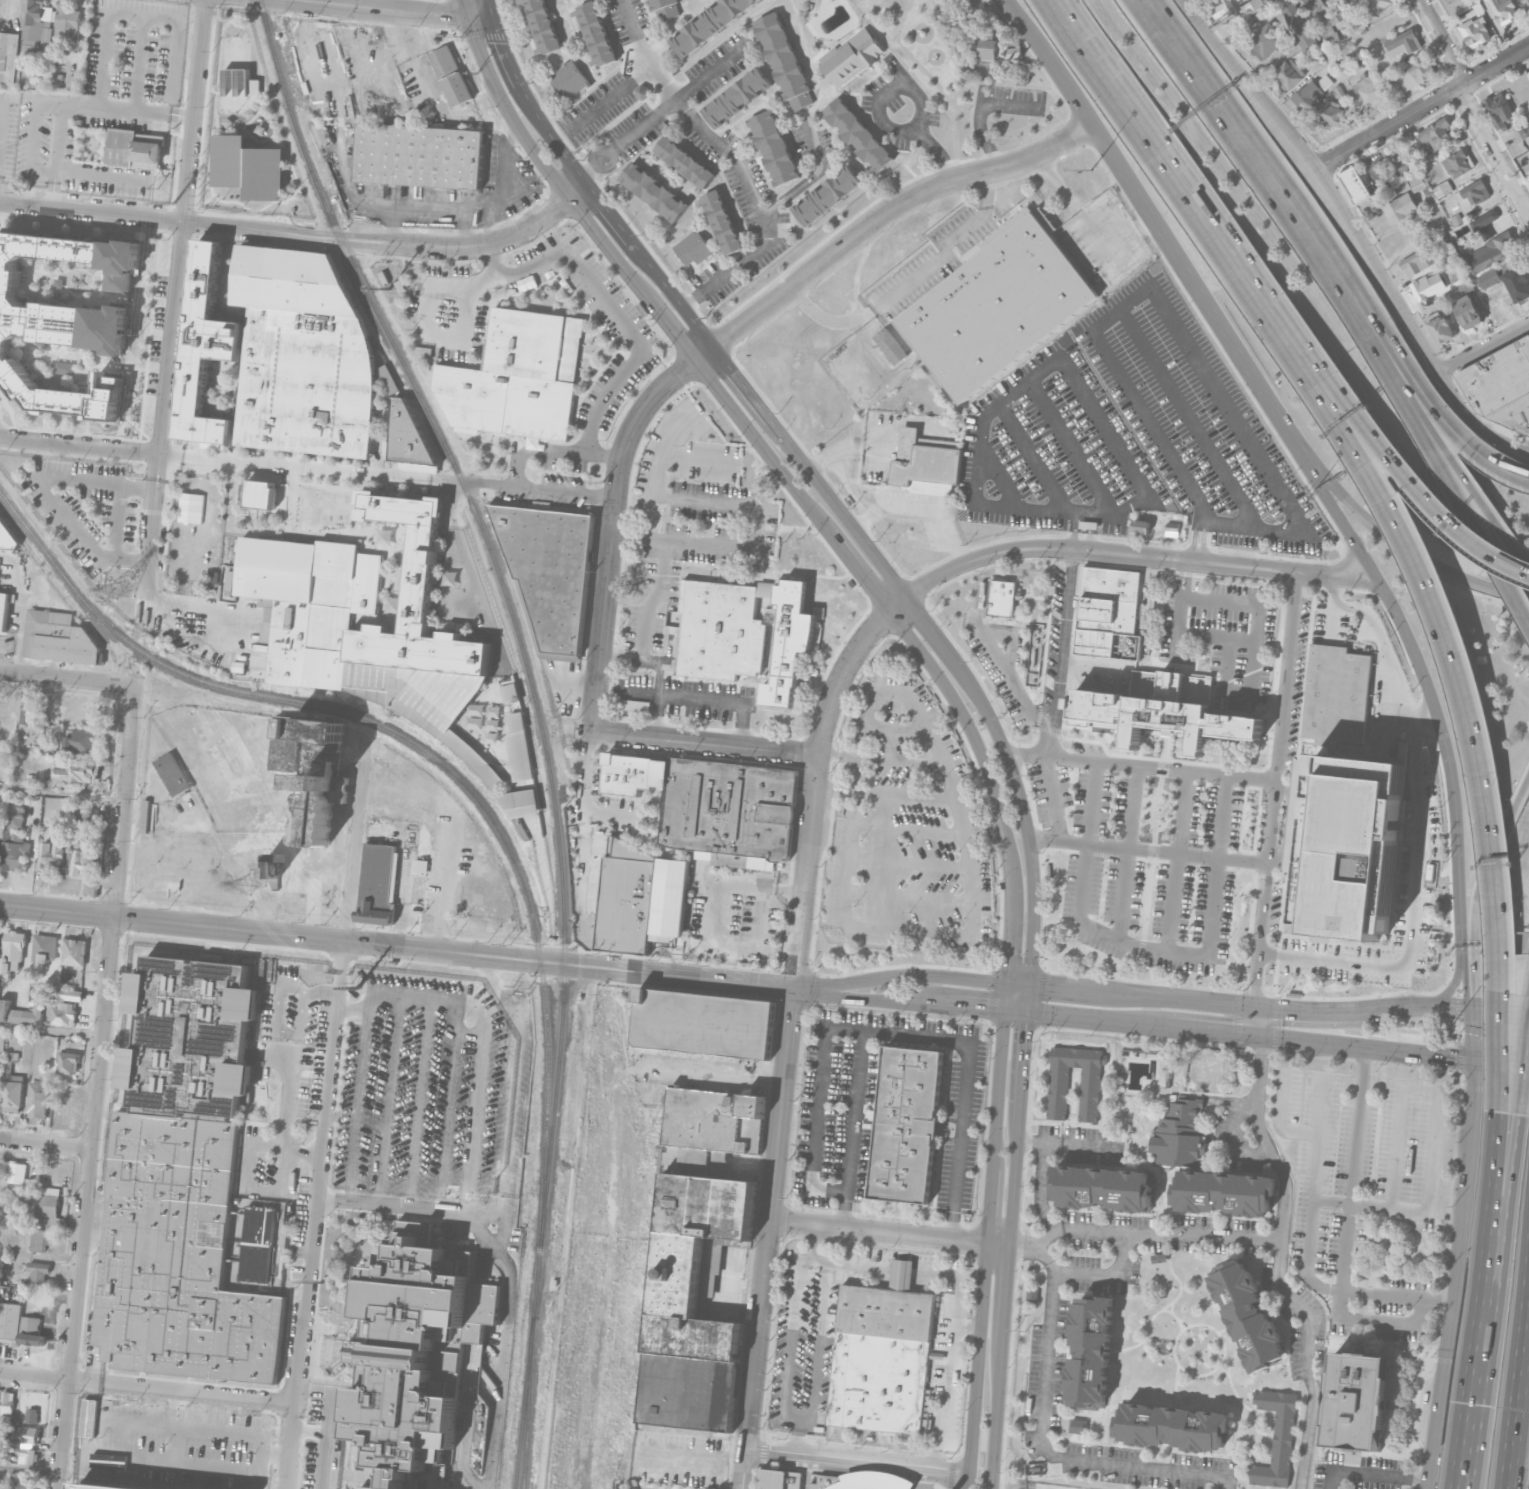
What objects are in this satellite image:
building: (1450, 1)
building: (1527, 2)
road: (381, 4)
building: (1314, 4)
building: (1252, 5)
building: (1377, 5)
building: (1224, 7)
road: (388, 8)
road: (466, 8)
road: (488, 9)
building: (666, 9)
building: (1503, 10)
road: (135, 13)
road: (480, 17)
road: (1018, 20)
road: (1025, 20)
building: (68, 23)
building: (708, 24)
building: (1298, 24)
building: (36, 25)
building: (542, 25)
building: (1475, 31)
building: (597, 32)
building: (1267, 38)
road: (1443, 41)
building: (986, 42)
building: (1402, 43)
road: (949, 50)
road: (503, 52)
road: (644, 52)
building: (1012, 52)
building: (8, 57)
building: (851, 57)
road: (415, 59)
building: (784, 60)
road: (140, 62)
road: (918, 64)
park: (970, 67)
road: (710, 72)
building: (1415, 72)
building: (451, 74)
building: (1287, 74)
road: (1107, 77)
building: (569, 78)
road: (968, 80)
building: (74, 83)
building: (239, 89)
building: (643, 91)
building: (1372, 91)
road: (884, 92)
building: (1306, 95)
road: (611, 97)
building: (737, 97)
road: (1010, 103)
road: (81, 105)
road: (1419, 109)
building: (1498, 110)
building: (1329, 114)
road: (978, 118)
building: (1436, 134)
road: (549, 135)
building: (858, 135)
building: (774, 147)
building: (134, 148)
road: (938, 150)
road: (1492, 154)
building: (420, 155)
road: (1257, 160)
road: (595, 162)
building: (684, 162)
building: (1457, 163)
building: (248, 167)
road: (733, 167)
road: (38, 168)
road: (807, 177)
building: (1417, 180)
building: (1354, 183)
road: (500, 186)
building: (1442, 189)
building: (654, 191)
building: (827, 195)
building: (1468, 195)
power tower: (173, 202)
building: (1400, 207)
road: (887, 209)
road: (607, 212)
road: (1085, 216)
building: (721, 220)
building: (1484, 222)
road: (182, 226)
road: (301, 233)
road: (1351, 235)
road: (1165, 238)
building: (693, 247)
building: (1486, 254)
road: (491, 261)
road: (1240, 262)
building: (1416, 262)
building: (1489, 277)
road: (909, 280)
building: (1518, 283)
building: (1424, 287)
road: (596, 289)
road: (670, 292)
road: (692, 301)
building: (996, 307)
road: (1168, 309)
building: (1469, 311)
building: (65, 323)
parking lot: (446, 329)
building: (1441, 330)
road: (443, 339)
road: (1375, 339)
building: (890, 344)
road: (1482, 347)
building: (205, 349)
building: (302, 352)
road: (702, 352)
building: (517, 376)
road: (740, 383)
building: (1501, 384)
road: (1412, 402)
road: (1438, 411)
road: (1189, 417)
parking lot: (1131, 432)
road: (1372, 436)
building: (408, 437)
road: (883, 443)
road: (79, 444)
road: (1069, 447)
road: (553, 450)
road: (1034, 457)
road: (701, 458)
building: (923, 464)
road: (294, 465)
road: (659, 466)
road: (1000, 476)
road: (788, 482)
road: (472, 483)
road: (47, 487)
road: (565, 493)
building: (264, 494)
road: (1485, 506)
parking lot: (87, 507)
road: (921, 507)
road: (838, 509)
road: (1098, 513)
road: (116, 521)
building: (1173, 523)
building: (1141, 525)
road: (1084, 530)
road: (1483, 531)
road: (611, 532)
building: (7, 537)
railway: (35, 537)
road: (149, 540)
road: (1394, 541)
road: (1476, 542)
road: (754, 548)
road: (1136, 553)
road: (726, 563)
building: (549, 569)
road: (792, 573)
road: (1379, 579)
building: (766, 589)
power tower: (121, 591)
building: (998, 596)
road: (1032, 596)
building: (419, 600)
road: (652, 600)
road: (1029, 602)
building: (305, 606)
road: (22, 607)
road: (1333, 608)
building: (4, 610)
building: (1107, 614)
road: (1528, 615)
road: (1027, 619)
road: (196, 624)
road: (928, 624)
building: (720, 630)
railway: (519, 634)
road: (1015, 637)
building: (58, 638)
road: (1239, 638)
road: (817, 639)
building: (789, 641)
building: (1035, 654)
road: (1178, 658)
road: (637, 659)
building: (239, 666)
road: (2, 670)
road: (1009, 674)
road: (70, 677)
road: (748, 683)
road: (737, 688)
road: (1057, 694)
building: (1337, 694)
road: (701, 698)
road: (659, 700)
building: (1163, 708)
building: (29, 711)
road: (1424, 717)
building: (83, 741)
road: (704, 743)
building: (48, 748)
building: (519, 748)
road: (1164, 753)
road: (1142, 767)
building: (312, 769)
building: (76, 770)
building: (173, 774)
building: (633, 774)
railway: (343, 776)
road: (816, 778)
road: (1278, 789)
road: (584, 792)
road: (642, 793)
road: (62, 794)
railway: (473, 794)
road: (627, 796)
road: (654, 799)
road: (1515, 802)
building: (521, 804)
building: (729, 809)
road: (1021, 810)
building: (16, 814)
building: (91, 815)
building: (145, 816)
road: (639, 816)
road: (1490, 823)
road: (649, 824)
parking lot: (908, 828)
building: (0, 831)
road: (1420, 840)
building: (1352, 848)
road: (1457, 848)
road: (1148, 850)
building: (13, 851)
road: (1128, 852)
building: (65, 857)
road: (1152, 857)
road: (1178, 861)
building: (420, 867)
road: (1486, 868)
building: (274, 869)
building: (376, 882)
power tower: (252, 886)
road: (724, 894)
building: (669, 897)
building: (626, 900)
building: (262, 901)
road: (232, 928)
building: (45, 948)
road: (1152, 949)
road: (28, 950)
building: (13, 952)
building: (74, 952)
traffic signals: (1009, 952)
road: (554, 955)
road: (1476, 957)
road: (338, 968)
road: (553, 968)
road: (901, 973)
road: (720, 978)
road: (1018, 983)
traffic signals: (796, 986)
traffic signals: (1048, 986)
power tower: (358, 987)
traffic signals: (1465, 987)
traffic signals: (1477, 987)
road: (1451, 988)
road: (1465, 988)
road: (854, 996)
road: (1005, 996)
road: (445, 997)
road: (1028, 999)
road: (929, 1004)
road: (1230, 1005)
building: (66, 1007)
road: (1452, 1007)
road: (973, 1008)
traffic signals: (986, 1010)
traffic signals: (1282, 1010)
traffic signals: (1497, 1011)
road: (1501, 1011)
road: (1015, 1012)
building: (21, 1013)
road: (1095, 1020)
road: (1256, 1021)
building: (703, 1024)
road: (51, 1031)
traffic signals: (1026, 1031)
road: (1209, 1031)
road: (103, 1033)
traffic signals: (1233, 1033)
road: (918, 1035)
road: (1474, 1035)
building: (2, 1042)
road: (1365, 1047)
traffic signals: (1261, 1051)
road: (1024, 1058)
traffic signals: (1455, 1058)
building: (68, 1062)
road: (1502, 1064)
building: (1207, 1069)
road: (1177, 1078)
building: (13, 1092)
road: (1206, 1092)
building: (1060, 1094)
road: (500, 1098)
building: (38, 1099)
road: (356, 1099)
road: (1257, 1101)
road: (285, 1106)
road: (818, 1106)
road: (1434, 1111)
road: (1280, 1119)
building: (906, 1125)
building: (710, 1128)
road: (1233, 1131)
building: (1181, 1134)
road: (1031, 1142)
road: (47, 1145)
road: (1083, 1146)
road: (1352, 1168)
building: (17, 1172)
road: (1015, 1174)
building: (186, 1185)
road: (1040, 1189)
road: (1511, 1189)
building: (1104, 1190)
building: (1226, 1195)
road: (1311, 1197)
building: (43, 1206)
road: (405, 1209)
road: (773, 1217)
road: (1168, 1231)
road: (890, 1234)
building: (697, 1236)
building: (40, 1238)
road: (1035, 1247)
road: (986, 1250)
road: (1168, 1254)
building: (1160, 1259)
building: (39, 1274)
road: (1108, 1275)
road: (1458, 1275)
power tower: (322, 1281)
road: (959, 1287)
road: (306, 1292)
road: (1005, 1293)
building: (1033, 1295)
road: (1397, 1299)
road: (1527, 1300)
road: (1015, 1310)
road: (1174, 1316)
road: (1527, 1316)
building: (1248, 1317)
road: (1306, 1321)
road: (967, 1323)
road: (1375, 1323)
building: (19, 1326)
road: (51, 1327)
road: (1023, 1339)
road: (1174, 1347)
building: (415, 1349)
road: (1223, 1349)
road: (500, 1350)
building: (1092, 1351)
building: (882, 1358)
road: (1224, 1367)
building: (688, 1373)
road: (6, 1375)
road: (40, 1378)
road: (1175, 1385)
road: (181, 1393)
road: (1472, 1400)
road: (1241, 1401)
railway: (523, 1402)
railway: (528, 1402)
building: (1357, 1404)
building: (7, 1405)
building: (34, 1408)
road: (178, 1409)
road: (1516, 1409)
road: (996, 1415)
road: (791, 1419)
road: (329, 1421)
building: (1174, 1424)
building: (1079, 1425)
building: (26, 1434)
road: (61, 1434)
road: (88, 1434)
road: (291, 1437)
road: (796, 1437)
building: (1278, 1437)
road: (1043, 1442)
road: (1252, 1447)
building: (28, 1456)
road: (856, 1460)
road: (744, 1468)
road: (261, 1470)
road: (28, 1471)
road: (1373, 1475)
building: (0, 1478)
building: (779, 1480)
building: (827, 1480)
building: (872, 1480)
road: (746, 1482)
building: (22, 1483)
road: (1022, 1485)
building: (98, 1487)

